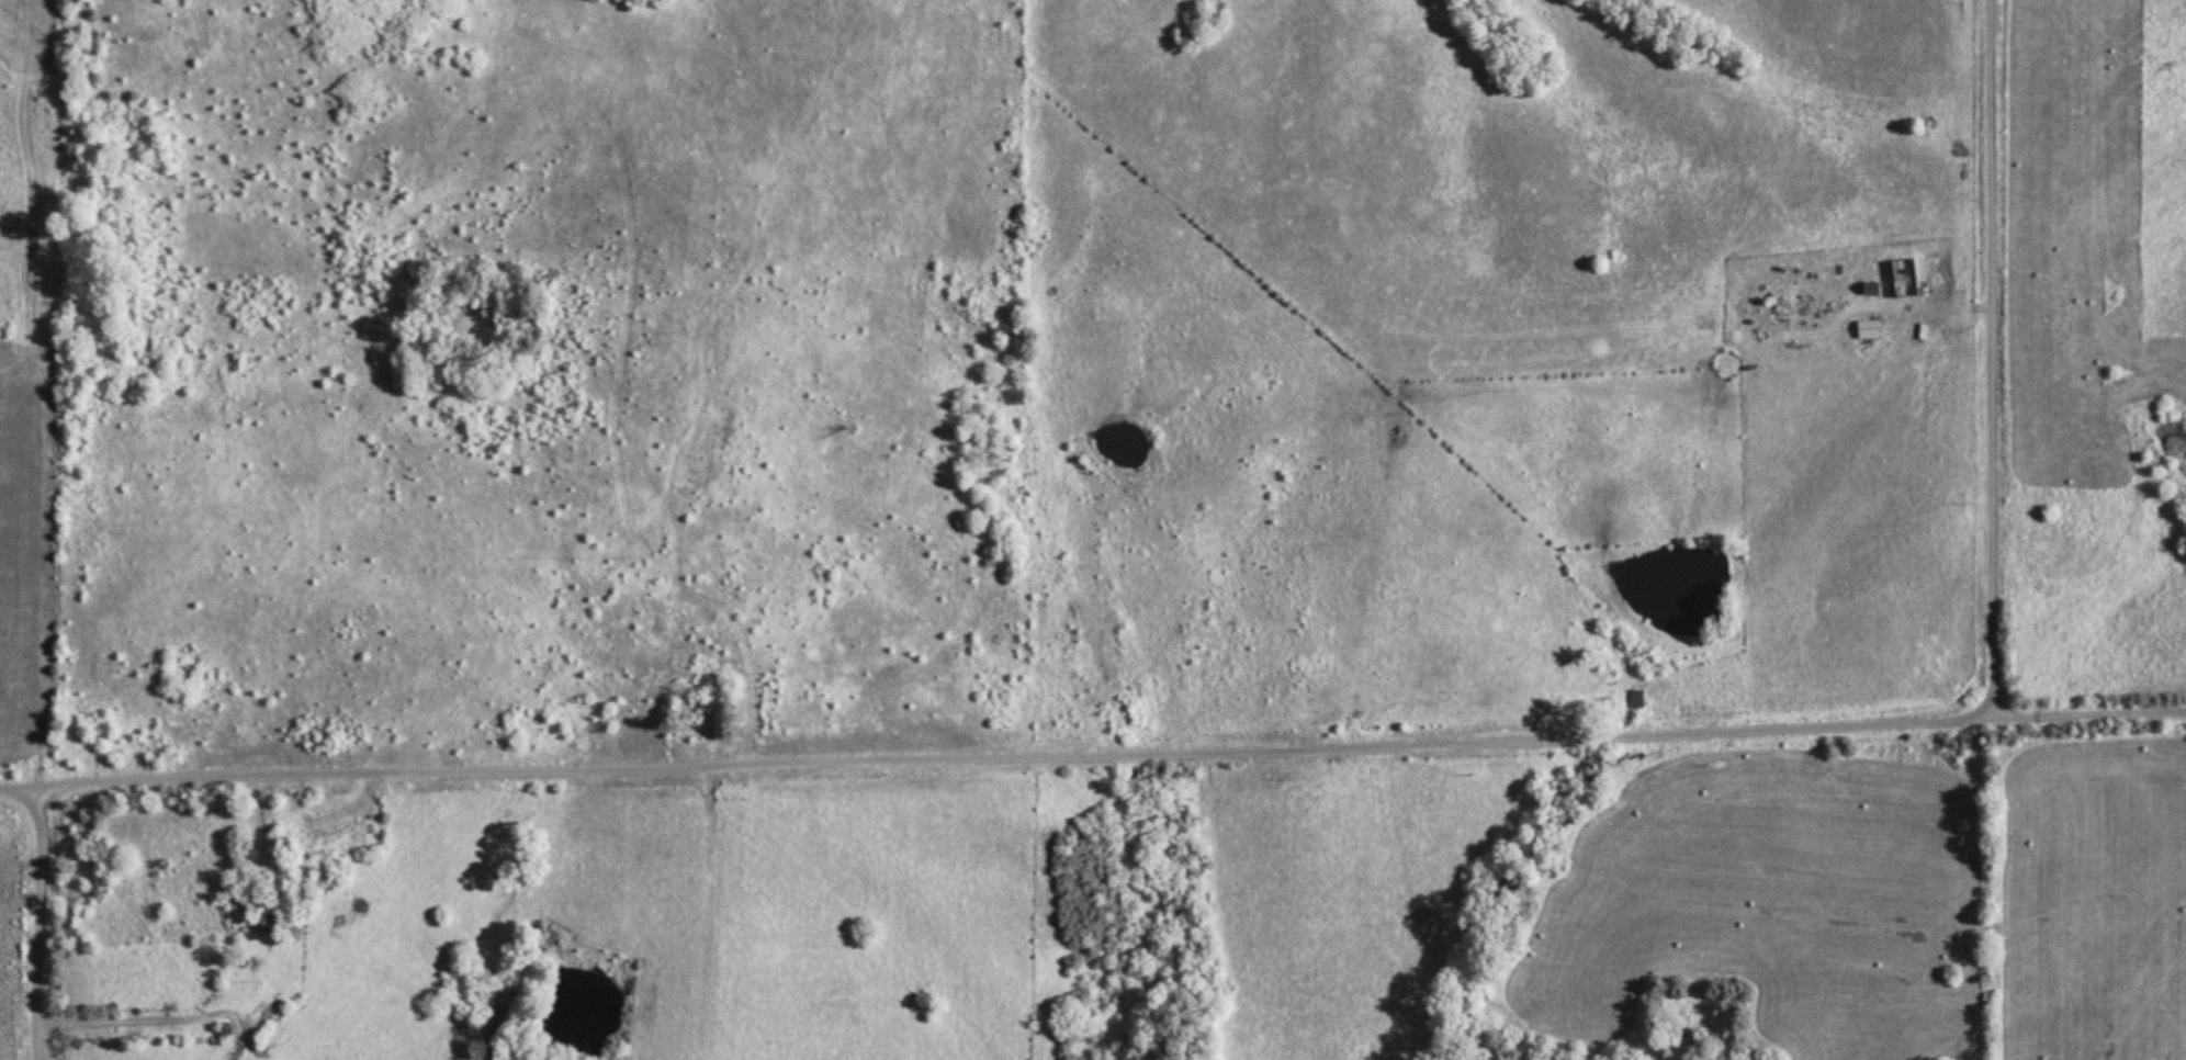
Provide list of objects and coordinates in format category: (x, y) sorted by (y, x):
building: (1912, 270)
building: (1870, 332)
road: (1990, 354)
building: (1636, 698)
road: (994, 756)
road: (38, 921)
building: (271, 923)

